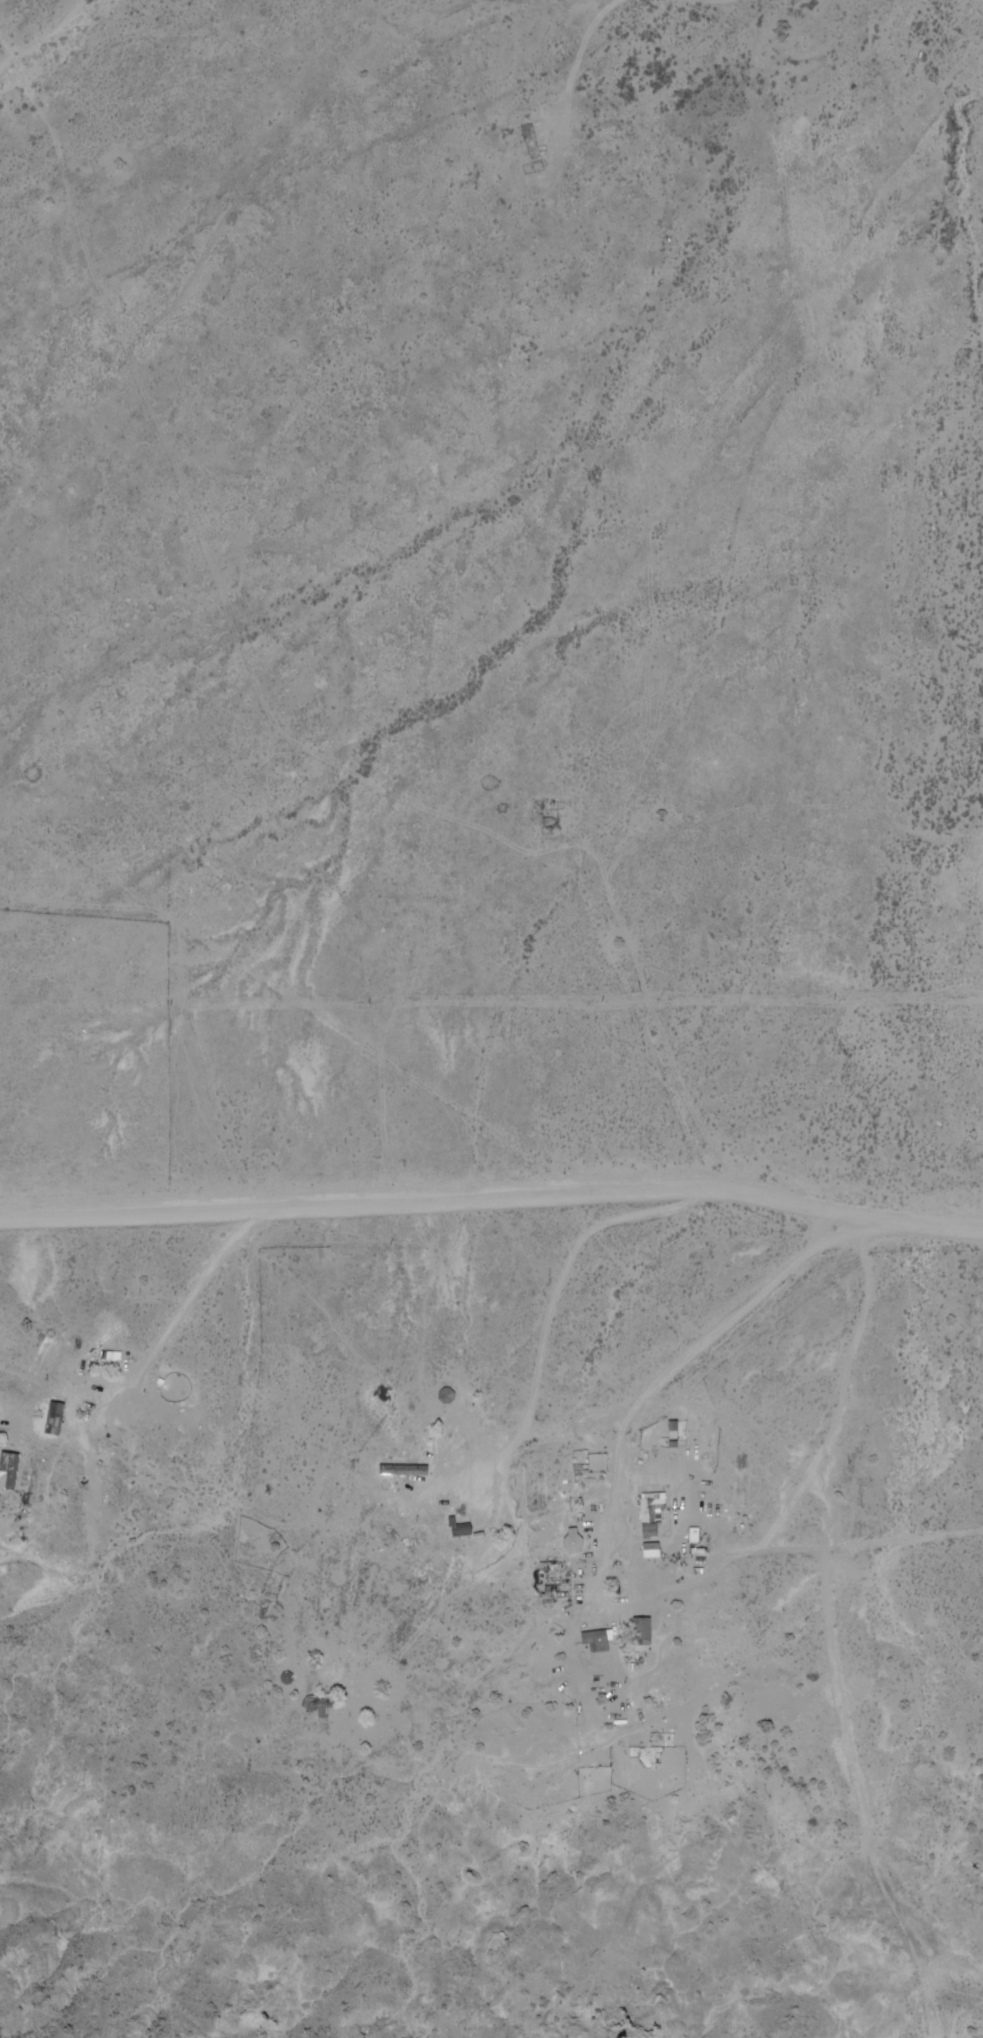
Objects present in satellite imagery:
road: (493, 1201)
road: (756, 1297)
building: (638, 1514)
building: (574, 1541)
road: (852, 1547)
road: (832, 1636)
building: (591, 1643)

